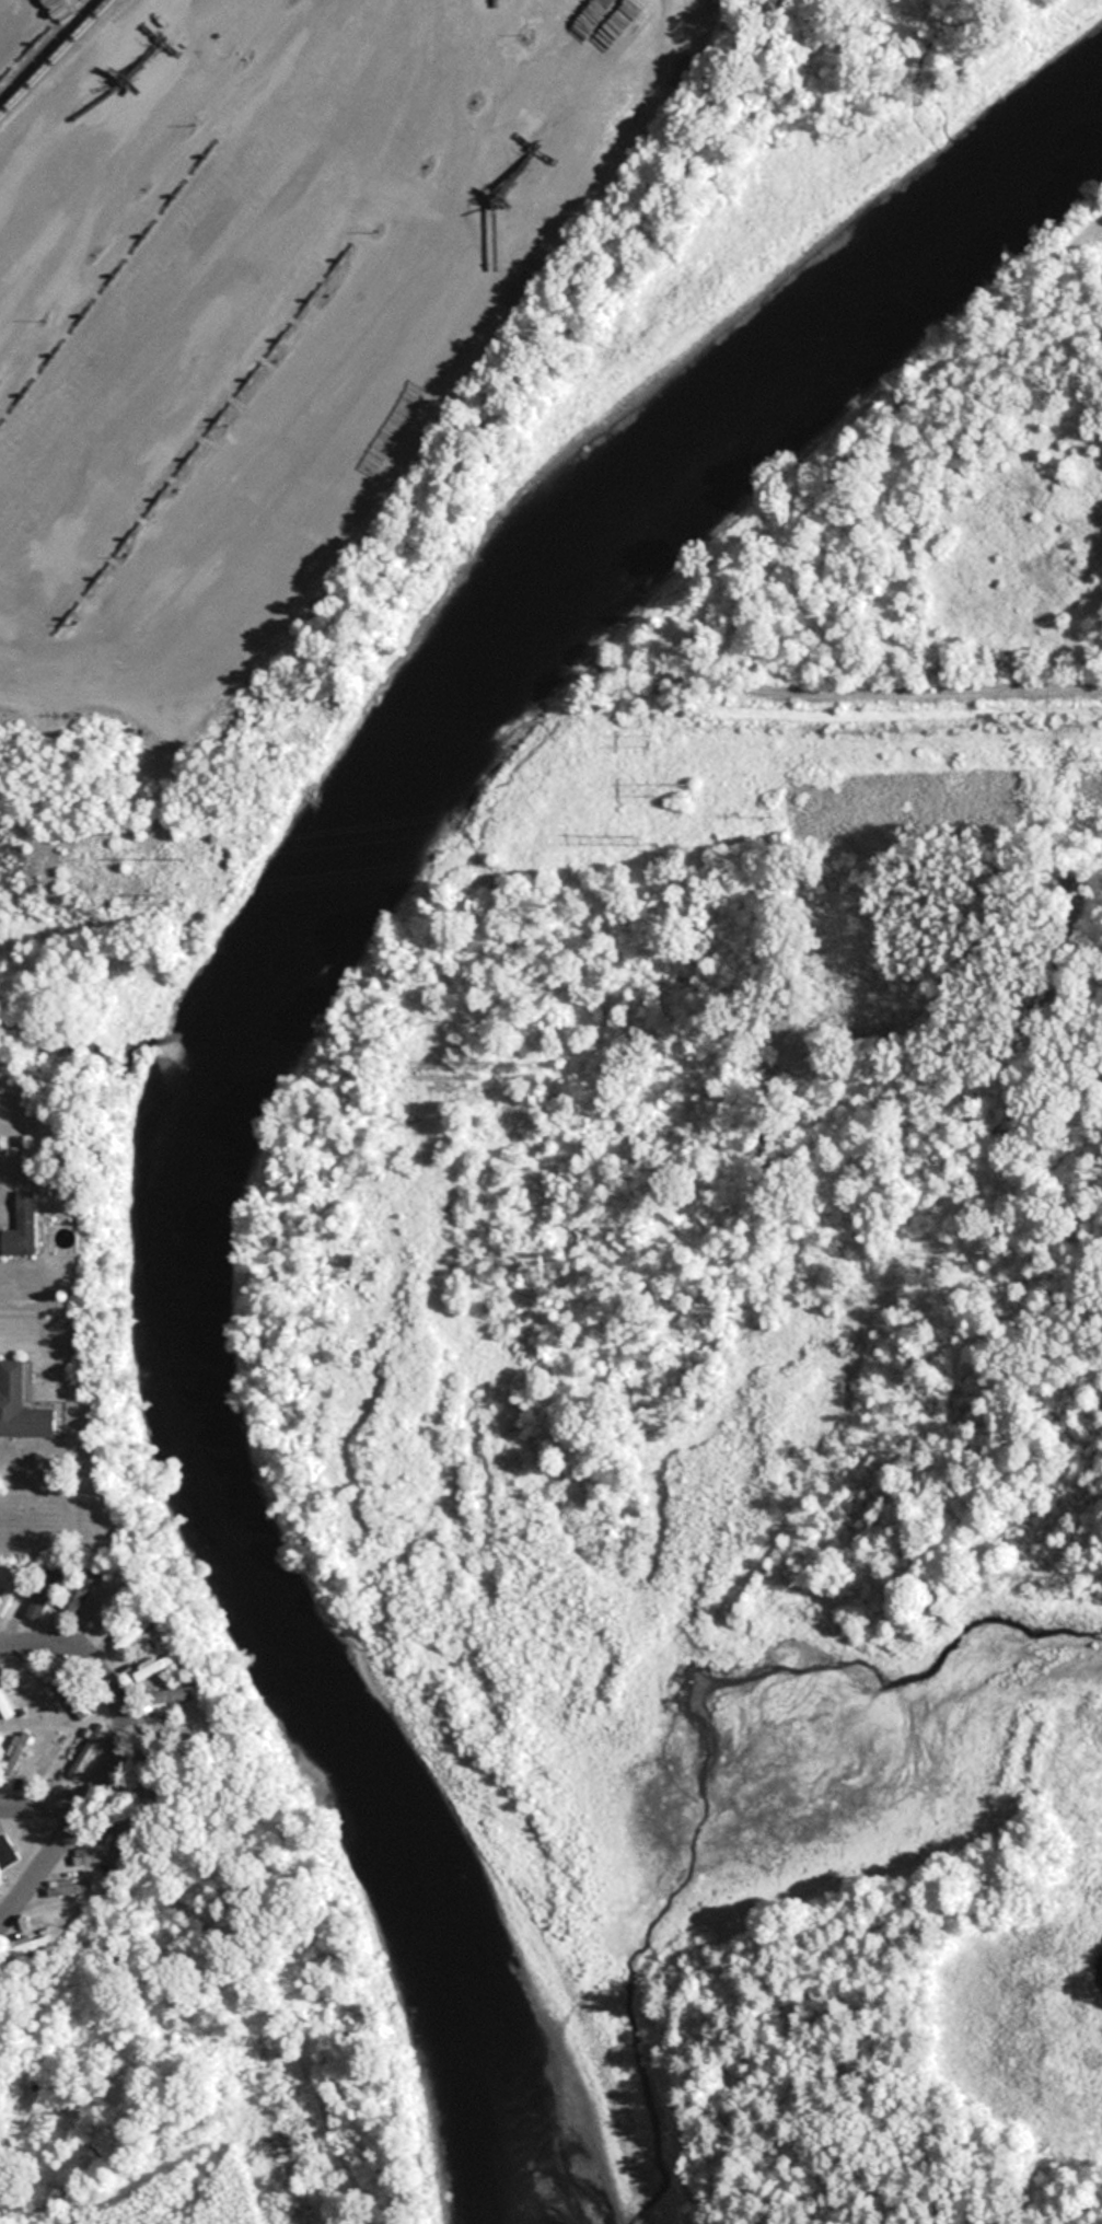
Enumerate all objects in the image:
railway: (54, 56)
power tower: (686, 791)
power tower: (198, 860)
river: (257, 1042)
building: (24, 1226)
building: (24, 1406)
building: (85, 1589)
building: (9, 1590)
building: (37, 1605)
building: (108, 1610)
building: (135, 1631)
building: (159, 1665)
road: (114, 1691)
building: (71, 1695)
building: (33, 1696)
building: (170, 1696)
building: (4, 1706)
building: (175, 1728)
building: (89, 1750)
building: (15, 1752)
building: (49, 1753)
road: (43, 1810)
building: (91, 1854)
building: (8, 1868)
road: (43, 1872)
building: (69, 1887)
building: (28, 1946)

